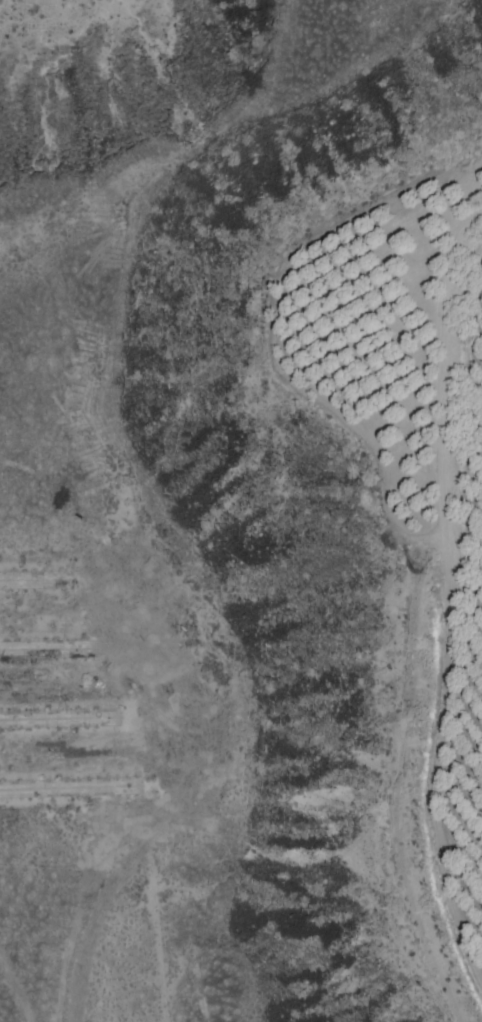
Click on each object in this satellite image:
road: (157, 808)
road: (18, 991)

